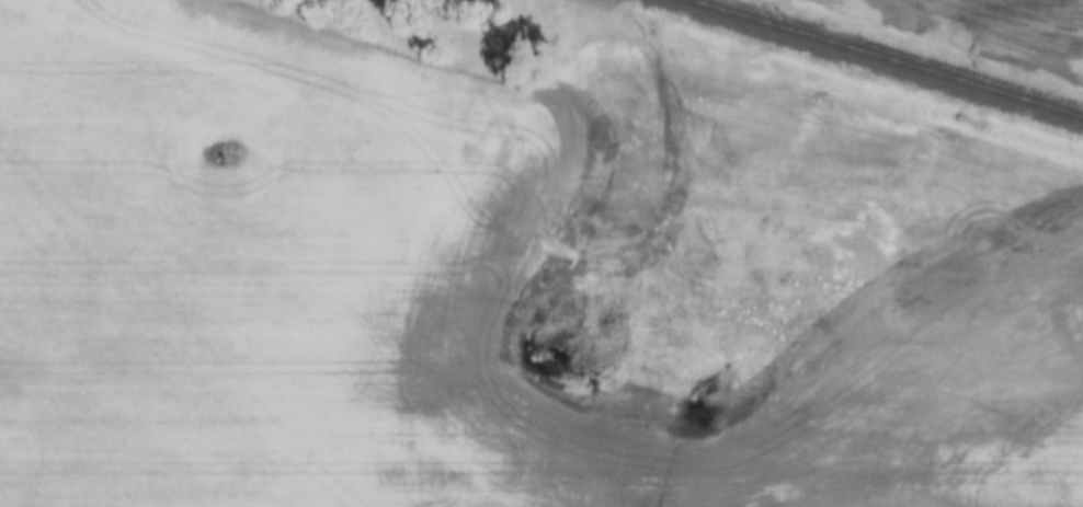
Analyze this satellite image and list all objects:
railway: (880, 59)

